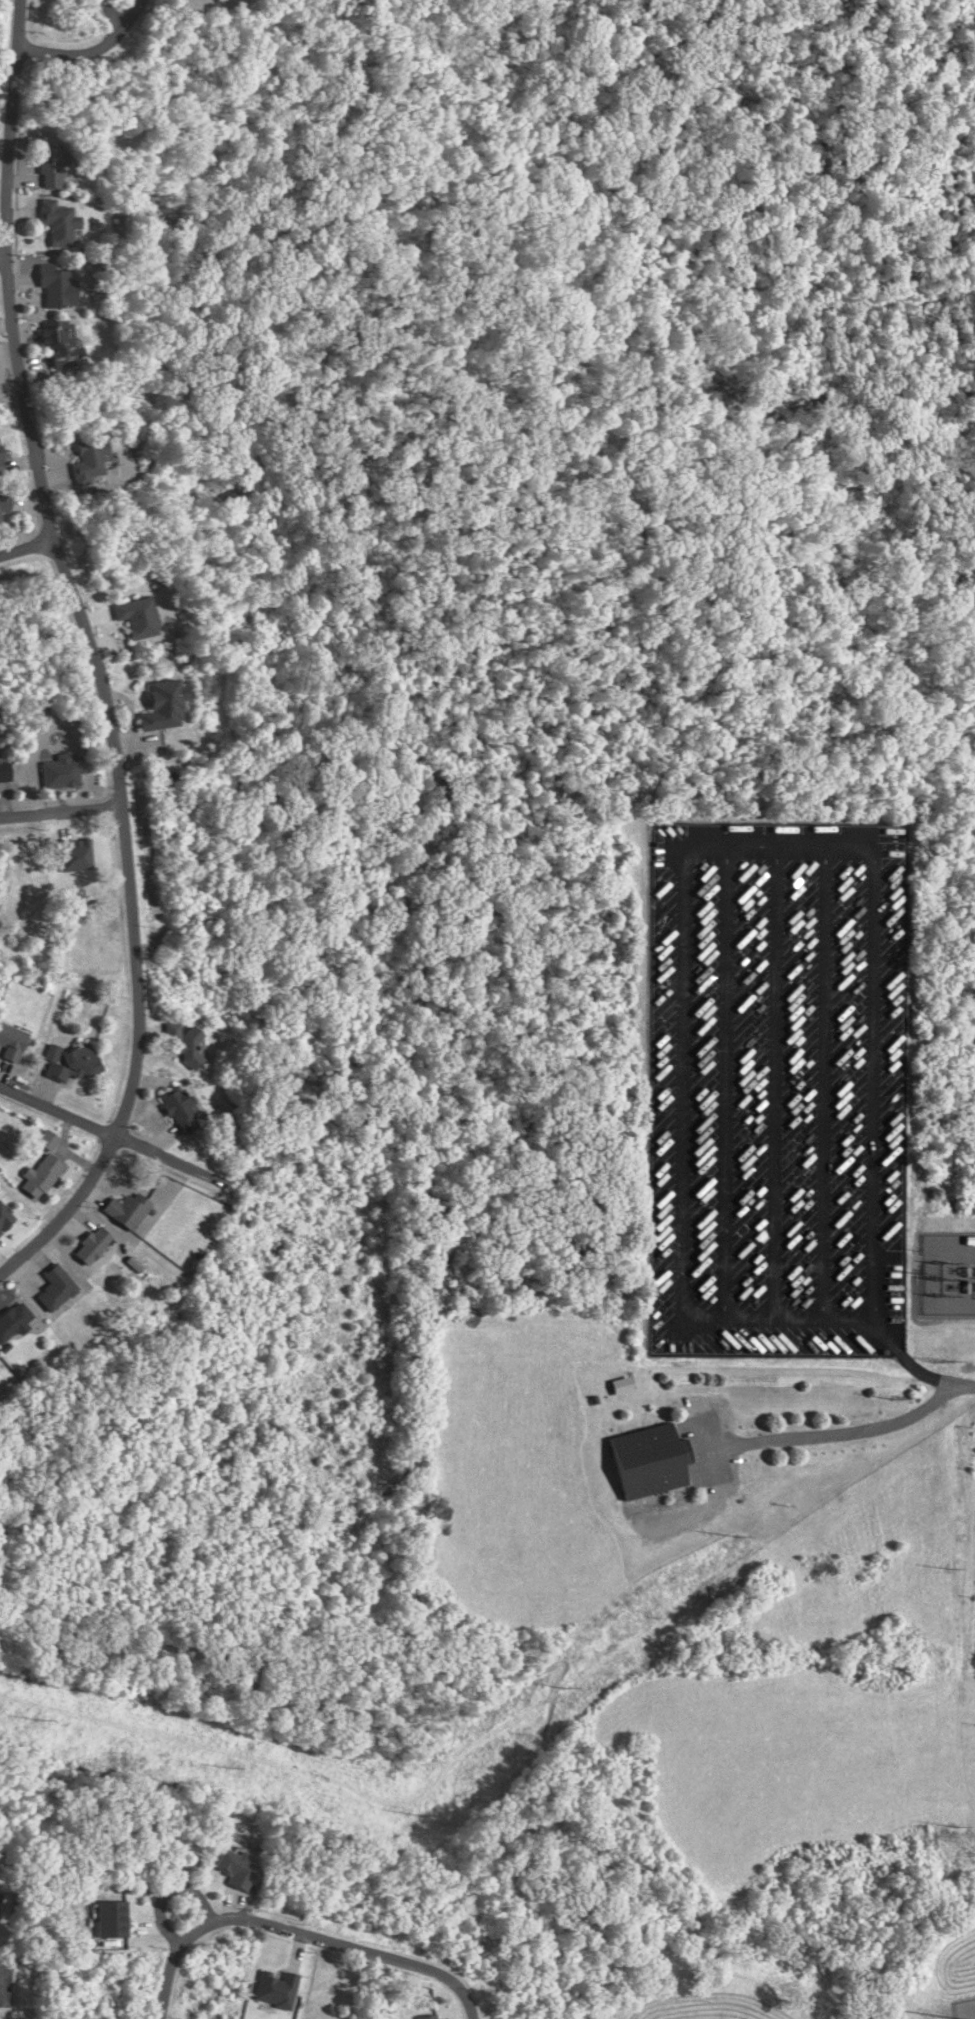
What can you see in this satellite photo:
road: (90, 52)
building: (51, 169)
building: (57, 222)
road: (2, 255)
building: (56, 285)
building: (61, 346)
building: (0, 458)
building: (88, 459)
building: (4, 502)
road: (28, 549)
building: (136, 617)
road: (96, 656)
building: (162, 705)
building: (61, 771)
building: (4, 772)
road: (61, 811)
road: (295, 818)
building: (75, 854)
building: (11, 1042)
building: (184, 1042)
building: (68, 1061)
parking lot: (779, 1088)
building: (180, 1109)
road: (114, 1136)
building: (47, 1140)
building: (40, 1176)
building: (127, 1209)
building: (5, 1217)
building: (92, 1245)
power substation: (949, 1274)
building: (55, 1288)
building: (14, 1321)
road: (933, 1380)
building: (623, 1387)
building: (598, 1401)
road: (847, 1434)
building: (651, 1460)
road: (542, 1669)
building: (237, 1868)
road: (169, 1890)
building: (113, 1918)
road: (357, 1950)
road: (175, 1961)
building: (276, 1989)
building: (428, 2016)

